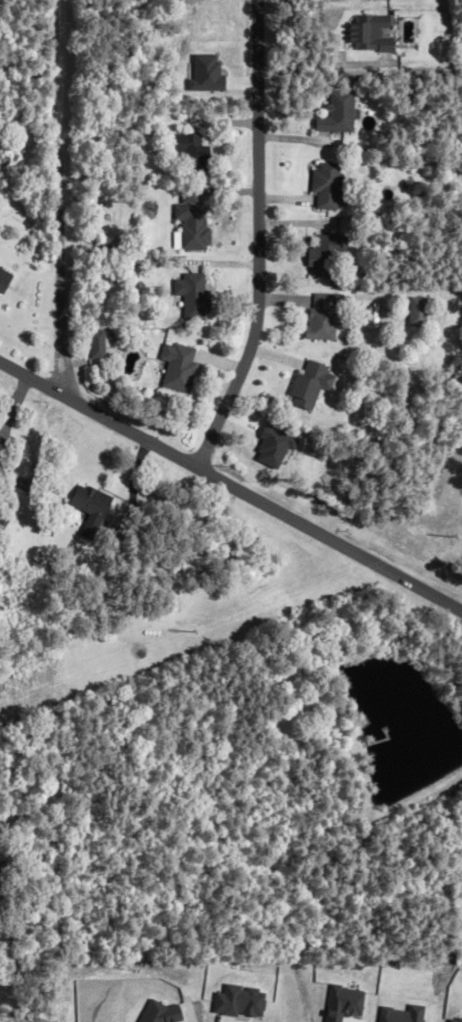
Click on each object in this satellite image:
building: (369, 33)
road: (321, 64)
building: (337, 113)
building: (190, 152)
building: (328, 187)
road: (54, 197)
building: (192, 222)
road: (257, 240)
building: (329, 255)
building: (4, 280)
building: (194, 297)
building: (325, 316)
building: (179, 366)
building: (311, 384)
building: (1, 448)
road: (230, 488)
building: (92, 508)
building: (2, 521)

